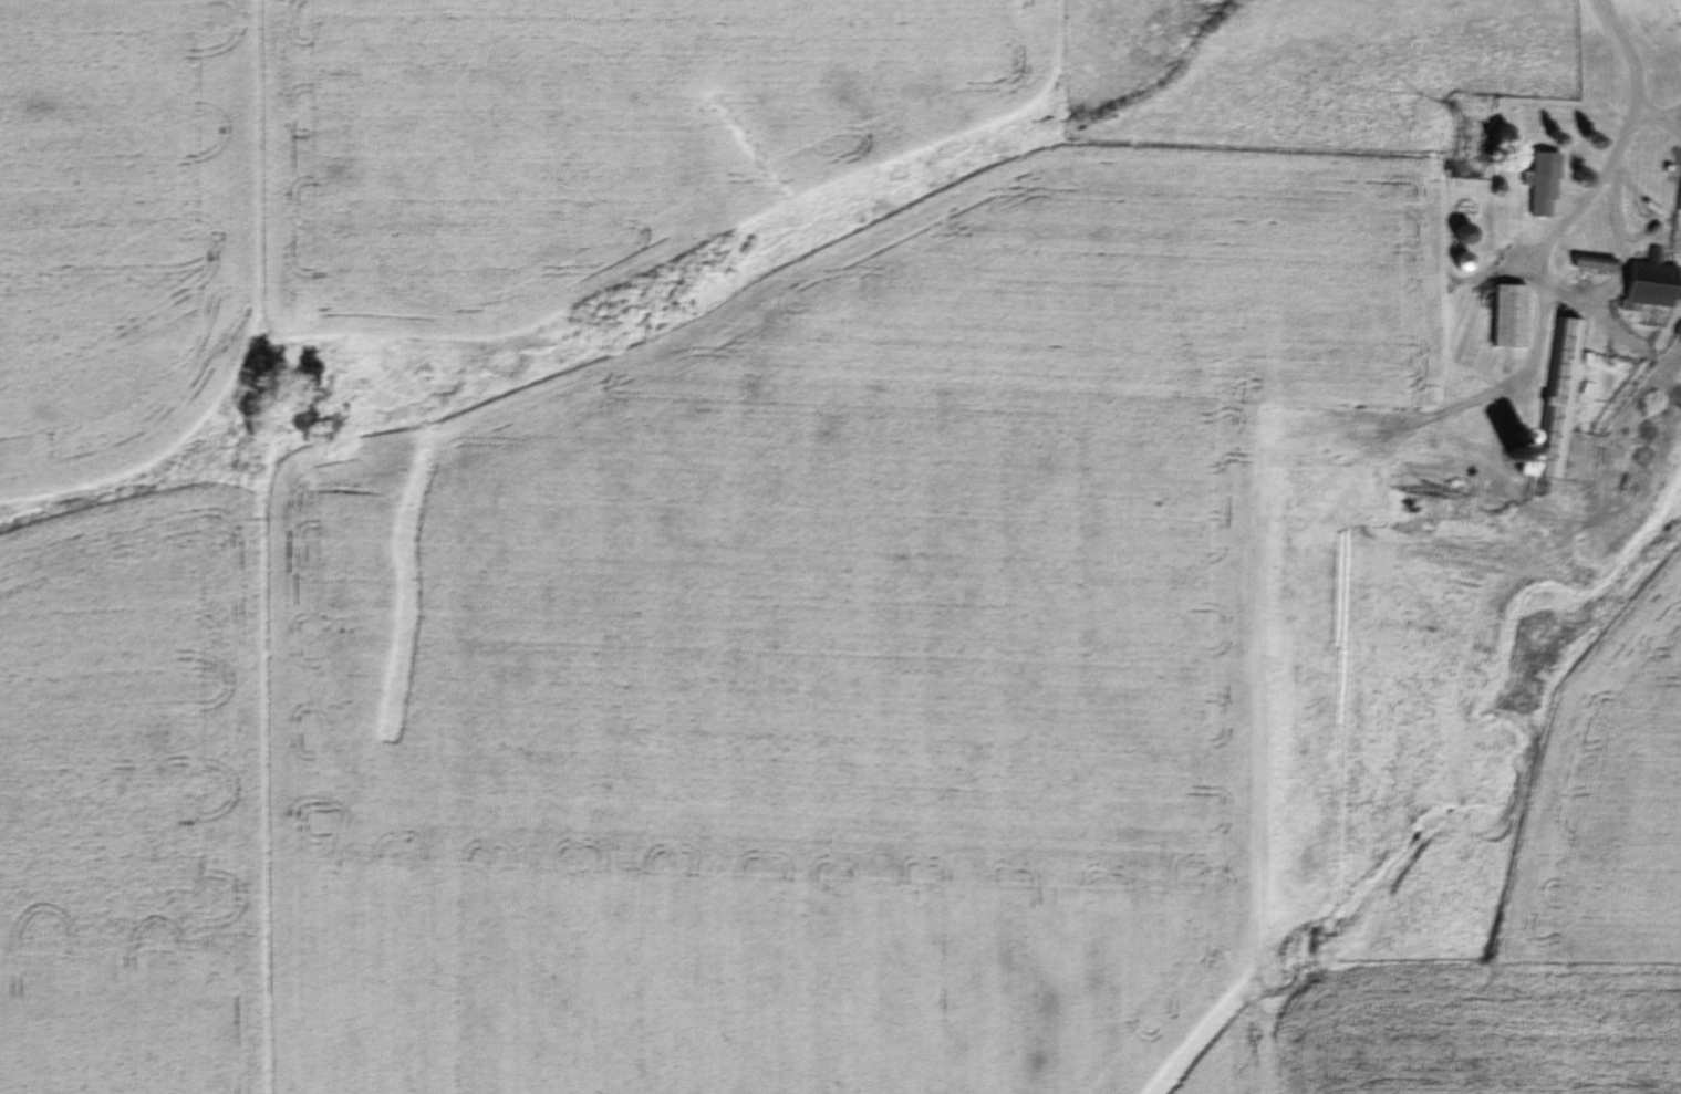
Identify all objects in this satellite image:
building: (1545, 184)
building: (1653, 284)
building: (1511, 315)
building: (1555, 406)

